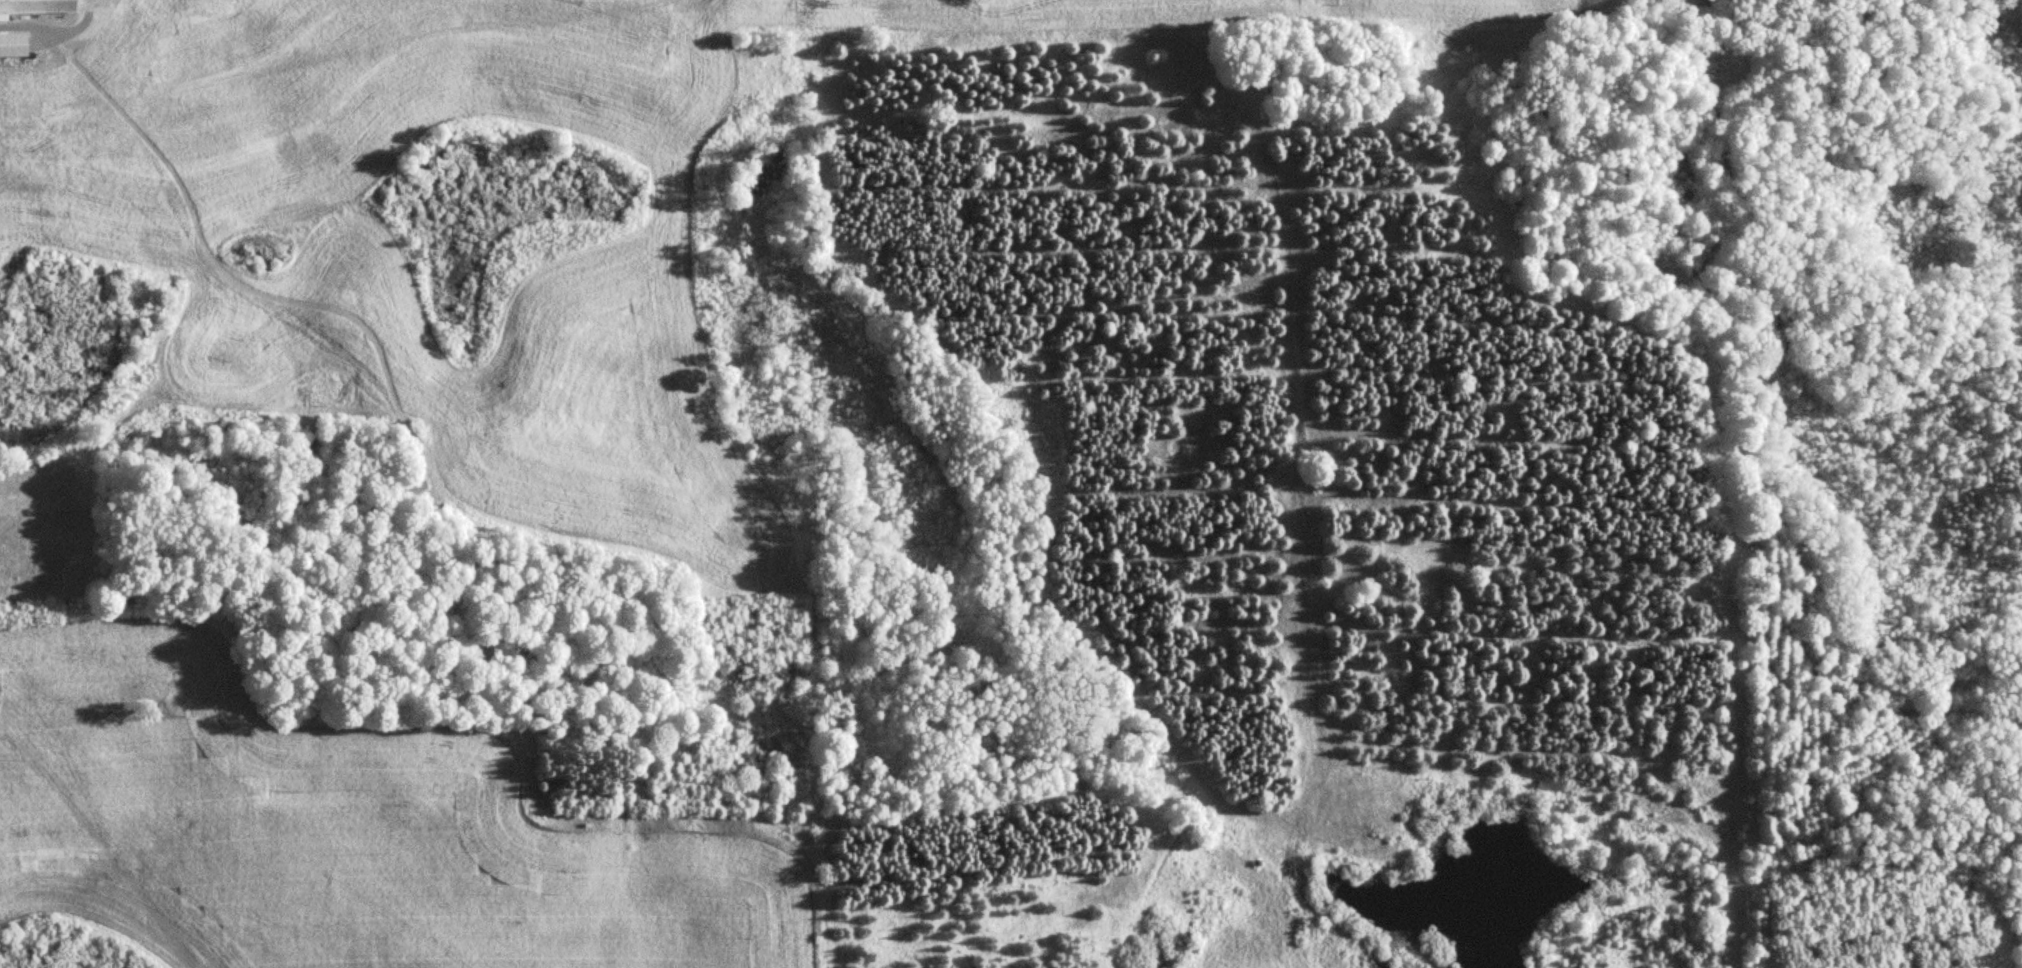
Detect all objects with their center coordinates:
building: (38, 6)
building: (14, 43)

